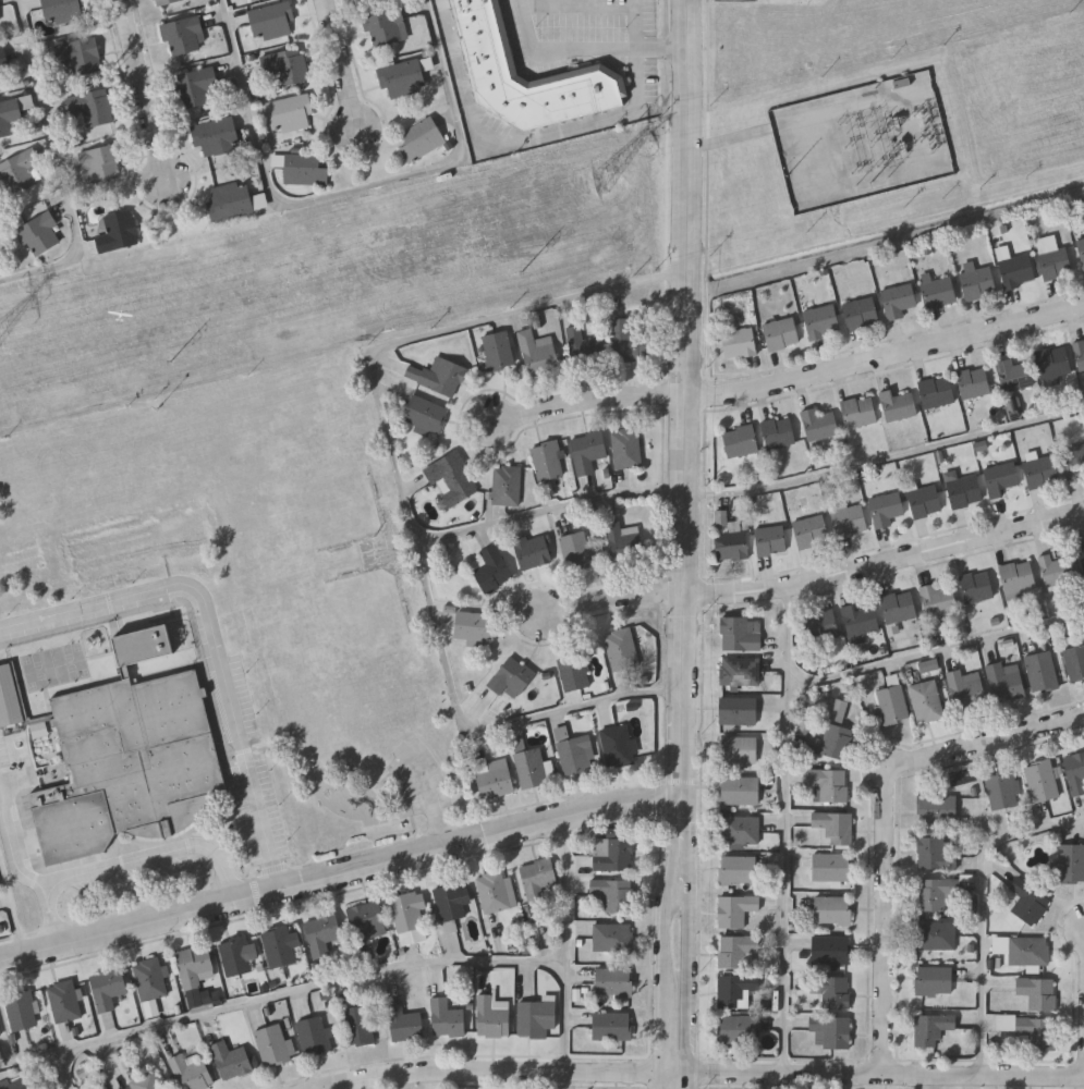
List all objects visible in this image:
building: (162, 1)
building: (62, 10)
building: (271, 20)
building: (386, 25)
building: (184, 34)
road: (586, 51)
building: (78, 56)
building: (2, 58)
building: (287, 65)
road: (341, 65)
road: (463, 66)
building: (492, 68)
building: (403, 76)
building: (1, 79)
building: (196, 87)
road: (146, 90)
building: (93, 106)
building: (14, 113)
building: (290, 113)
road: (590, 122)
building: (216, 135)
building: (422, 137)
power substation: (864, 144)
building: (101, 164)
road: (62, 166)
building: (305, 169)
building: (19, 171)
power tower: (618, 181)
road: (348, 191)
building: (234, 199)
building: (119, 232)
building: (40, 233)
building: (1081, 250)
building: (1052, 258)
building: (1018, 271)
building: (977, 281)
building: (937, 291)
building: (898, 301)
road: (689, 307)
building: (861, 314)
building: (821, 322)
building: (781, 334)
building: (625, 342)
building: (738, 343)
building: (583, 347)
power tower: (0, 350)
building: (498, 350)
building: (536, 353)
building: (1080, 355)
road: (887, 358)
building: (1053, 364)
building: (436, 376)
building: (1014, 376)
building: (974, 383)
building: (937, 392)
road: (590, 401)
building: (898, 406)
building: (1015, 408)
building: (860, 413)
building: (424, 414)
road: (386, 423)
building: (819, 425)
building: (779, 433)
building: (741, 441)
building: (625, 449)
building: (586, 452)
road: (887, 457)
building: (547, 461)
building: (1074, 462)
building: (1040, 472)
building: (450, 478)
building: (1002, 480)
building: (506, 486)
building: (964, 492)
building: (925, 502)
building: (886, 510)
building: (849, 522)
building: (811, 533)
building: (623, 539)
building: (731, 540)
building: (770, 540)
building: (531, 550)
building: (576, 551)
building: (1082, 554)
road: (886, 562)
building: (490, 570)
building: (1058, 570)
park: (292, 572)
building: (1019, 578)
building: (976, 588)
road: (200, 595)
road: (613, 599)
building: (938, 600)
building: (899, 607)
building: (860, 623)
building: (474, 625)
building: (825, 625)
building: (741, 635)
road: (936, 647)
building: (621, 649)
building: (1075, 664)
building: (1042, 671)
building: (574, 672)
building: (741, 672)
building: (510, 677)
building: (1003, 684)
building: (966, 688)
building: (10, 697)
building: (926, 701)
road: (684, 706)
building: (891, 706)
building: (738, 711)
building: (40, 730)
road: (483, 733)
building: (833, 735)
building: (618, 746)
building: (738, 752)
building: (576, 756)
building: (129, 757)
building: (529, 768)
building: (1075, 773)
building: (496, 780)
building: (1043, 781)
building: (829, 784)
building: (1003, 791)
building: (739, 792)
building: (937, 809)
road: (891, 824)
building: (835, 828)
road: (785, 829)
building: (741, 830)
building: (934, 832)
road: (15, 836)
road: (691, 842)
road: (271, 844)
road: (155, 854)
building: (614, 854)
building: (937, 854)
building: (1071, 865)
building: (831, 868)
building: (738, 870)
road: (341, 876)
building: (538, 878)
building: (497, 891)
building: (614, 893)
building: (939, 895)
road: (669, 897)
building: (1028, 903)
building: (451, 904)
road: (12, 906)
road: (981, 909)
building: (735, 910)
building: (833, 910)
building: (410, 917)
road: (51, 918)
building: (367, 921)
building: (324, 933)
building: (937, 935)
building: (613, 937)
road: (565, 944)
building: (279, 946)
building: (831, 950)
building: (736, 951)
building: (1030, 952)
building: (236, 956)
building: (195, 964)
building: (151, 978)
building: (613, 980)
building: (935, 980)
road: (691, 981)
road: (309, 986)
building: (108, 987)
building: (735, 990)
building: (832, 991)
building: (1038, 993)
building: (65, 1000)
building: (23, 1010)
building: (494, 1016)
building: (449, 1017)
building: (538, 1018)
building: (405, 1021)
building: (360, 1025)
building: (613, 1026)
building: (933, 1028)
building: (738, 1030)
building: (831, 1031)
building: (1037, 1033)
building: (315, 1035)
building: (275, 1044)
road: (663, 1044)
road: (48, 1055)
building: (233, 1060)
building: (193, 1073)
road: (705, 1074)
building: (148, 1081)
road: (691, 1081)
building: (19, 1085)

